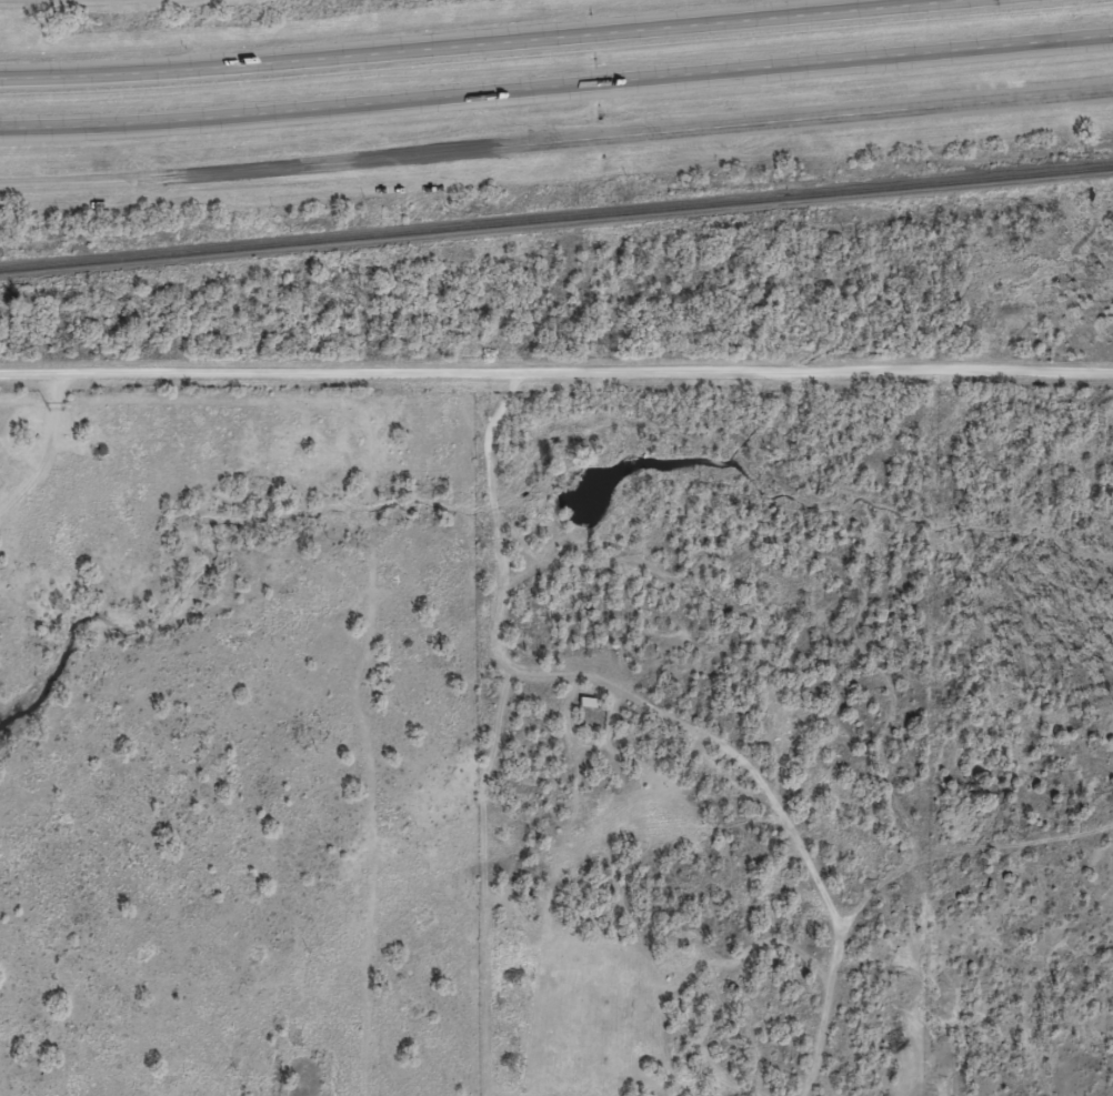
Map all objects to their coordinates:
road: (3, 0)
road: (470, 42)
road: (556, 84)
road: (556, 141)
railway: (555, 213)
road: (556, 391)
building: (583, 711)

